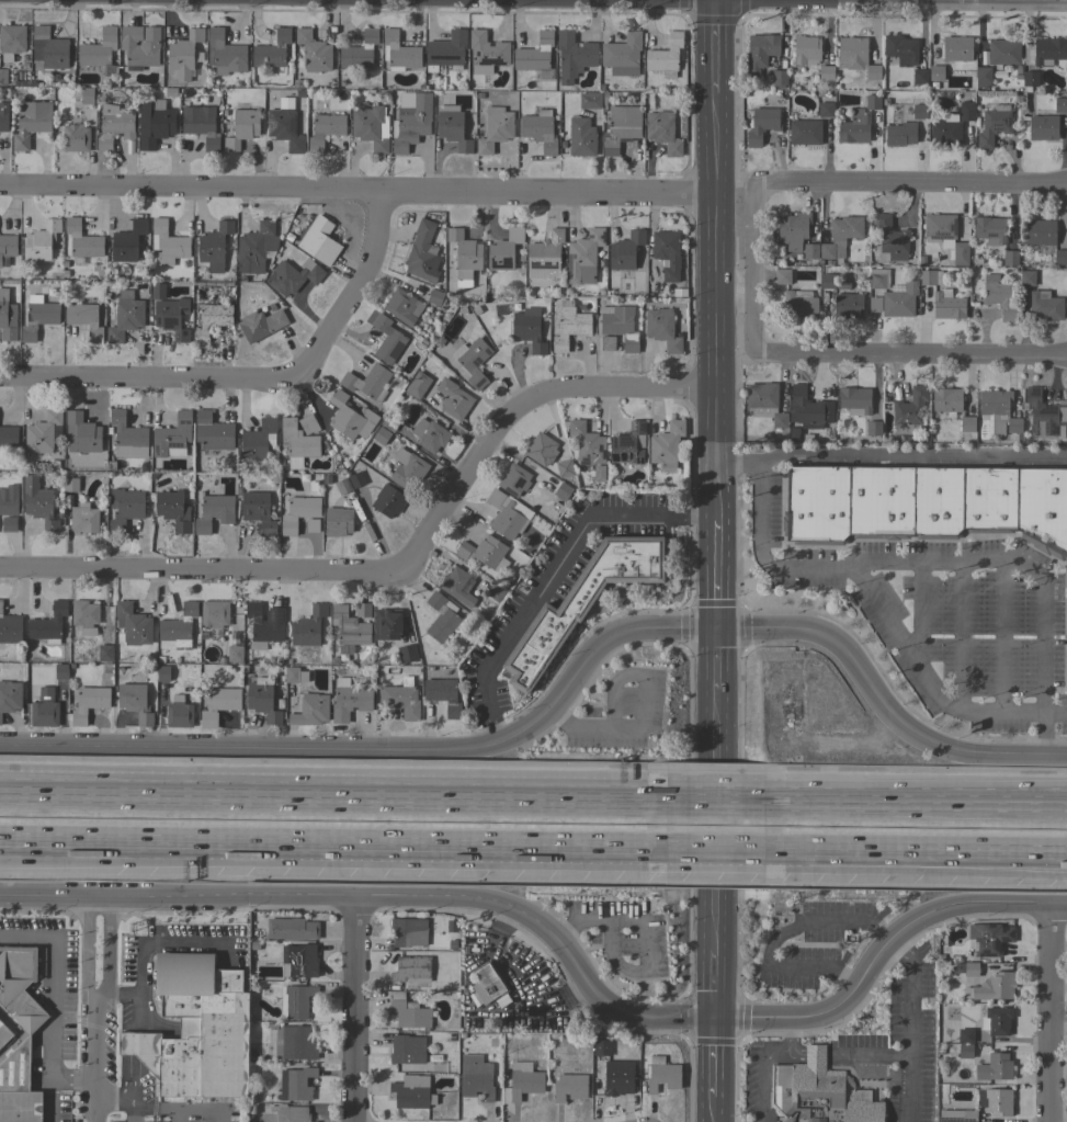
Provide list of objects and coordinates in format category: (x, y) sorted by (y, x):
road: (911, 0)
road: (941, 1)
building: (11, 41)
building: (139, 46)
building: (49, 48)
building: (957, 48)
building: (98, 49)
building: (272, 49)
building: (806, 49)
building: (900, 49)
building: (446, 50)
building: (1048, 50)
building: (314, 52)
building: (360, 52)
building: (398, 53)
building: (486, 53)
building: (760, 53)
building: (1003, 53)
building: (224, 54)
building: (534, 54)
building: (183, 55)
building: (622, 55)
building: (574, 56)
building: (666, 56)
building: (856, 56)
building: (826, 72)
building: (935, 72)
building: (2, 77)
building: (919, 77)
building: (983, 77)
building: (776, 78)
building: (1030, 79)
building: (299, 93)
building: (87, 95)
building: (590, 100)
building: (872, 102)
building: (1060, 105)
building: (826, 110)
building: (966, 110)
building: (919, 111)
building: (3, 116)
building: (410, 121)
building: (31, 122)
building: (154, 123)
building: (201, 125)
building: (761, 125)
building: (994, 125)
building: (371, 126)
building: (113, 127)
building: (452, 127)
building: (621, 127)
building: (854, 127)
building: (1043, 127)
building: (242, 128)
building: (284, 128)
building: (495, 128)
building: (325, 131)
building: (538, 131)
building: (662, 132)
building: (945, 132)
building: (804, 133)
building: (900, 134)
building: (581, 137)
building: (75, 138)
road: (838, 185)
road: (356, 194)
building: (989, 229)
building: (792, 230)
building: (1041, 233)
building: (840, 236)
building: (945, 237)
building: (892, 238)
building: (82, 240)
building: (319, 240)
building: (41, 241)
building: (127, 241)
building: (168, 243)
building: (214, 246)
building: (256, 248)
building: (7, 249)
building: (503, 249)
building: (625, 250)
building: (809, 251)
building: (422, 253)
building: (465, 253)
building: (667, 253)
building: (546, 256)
building: (583, 257)
building: (1010, 258)
building: (1060, 258)
road: (715, 259)
building: (293, 276)
building: (782, 276)
building: (930, 277)
building: (1026, 277)
building: (878, 279)
building: (827, 281)
building: (434, 296)
building: (998, 296)
building: (899, 301)
building: (874, 303)
building: (801, 304)
building: (946, 305)
building: (402, 306)
building: (848, 306)
building: (1045, 306)
building: (125, 316)
building: (7, 317)
building: (171, 317)
building: (38, 318)
building: (83, 319)
building: (211, 320)
building: (261, 325)
building: (569, 325)
building: (618, 326)
building: (529, 329)
building: (661, 329)
building: (385, 337)
building: (608, 343)
road: (877, 353)
building: (472, 362)
road: (253, 379)
building: (367, 382)
building: (418, 384)
building: (453, 399)
building: (946, 399)
building: (854, 400)
building: (765, 403)
building: (810, 407)
building: (909, 410)
building: (998, 412)
building: (1045, 415)
building: (350, 417)
building: (390, 422)
building: (307, 424)
building: (967, 424)
building: (874, 428)
building: (44, 432)
building: (213, 432)
building: (82, 433)
building: (126, 434)
building: (429, 434)
building: (381, 435)
building: (9, 437)
building: (172, 437)
building: (257, 440)
building: (297, 440)
building: (587, 443)
building: (628, 444)
building: (666, 445)
building: (541, 449)
road: (909, 454)
building: (293, 463)
road: (736, 466)
building: (405, 468)
building: (565, 468)
building: (598, 474)
building: (356, 479)
building: (513, 479)
building: (70, 485)
building: (342, 487)
building: (563, 491)
building: (9, 500)
building: (388, 501)
building: (38, 503)
building: (926, 503)
building: (124, 508)
building: (173, 510)
building: (258, 511)
building: (214, 512)
building: (298, 513)
building: (504, 515)
building: (83, 519)
building: (338, 521)
building: (9, 524)
building: (311, 525)
building: (484, 552)
road: (552, 570)
road: (1012, 570)
road: (402, 574)
road: (718, 574)
building: (457, 586)
building: (495, 592)
building: (582, 601)
building: (362, 610)
building: (214, 613)
road: (918, 613)
building: (84, 616)
building: (443, 619)
road: (881, 620)
building: (48, 623)
building: (133, 624)
building: (387, 624)
building: (262, 625)
building: (179, 626)
building: (308, 626)
building: (349, 626)
building: (10, 627)
building: (257, 647)
building: (105, 653)
building: (235, 654)
building: (407, 654)
road: (717, 658)
building: (61, 671)
building: (162, 673)
building: (291, 675)
building: (443, 694)
road: (563, 694)
building: (10, 696)
building: (400, 698)
building: (262, 699)
building: (349, 700)
building: (135, 702)
building: (89, 703)
building: (216, 704)
building: (44, 709)
building: (310, 710)
road: (642, 711)
building: (178, 713)
road: (1054, 714)
road: (716, 758)
road: (333, 797)
road: (717, 800)
road: (917, 803)
railway: (533, 825)
road: (333, 842)
road: (717, 848)
road: (917, 850)
road: (715, 888)
building: (291, 929)
building: (408, 932)
road: (645, 937)
building: (988, 938)
road: (776, 939)
road: (160, 941)
road: (564, 948)
building: (298, 961)
building: (968, 968)
building: (410, 972)
road: (53, 982)
building: (487, 983)
road: (714, 983)
building: (995, 987)
road: (95, 989)
road: (115, 996)
building: (295, 1000)
road: (354, 1009)
road: (469, 1011)
building: (408, 1012)
road: (1051, 1013)
building: (996, 1021)
road: (910, 1024)
building: (196, 1030)
building: (965, 1035)
building: (18, 1039)
road: (786, 1040)
building: (294, 1042)
building: (601, 1047)
building: (406, 1049)
road: (134, 1050)
building: (965, 1051)
road: (815, 1052)
road: (869, 1052)
road: (713, 1057)
building: (995, 1067)
building: (662, 1074)
building: (475, 1077)
building: (617, 1077)
road: (760, 1077)
building: (524, 1080)
road: (73, 1081)
building: (296, 1084)
building: (569, 1087)
building: (411, 1091)
building: (820, 1092)
road: (52, 1099)
building: (996, 1101)
road: (95, 1103)
road: (161, 1106)
road: (713, 1110)
road: (132, 1112)
building: (290, 1113)
building: (969, 1115)
building: (950, 1118)

